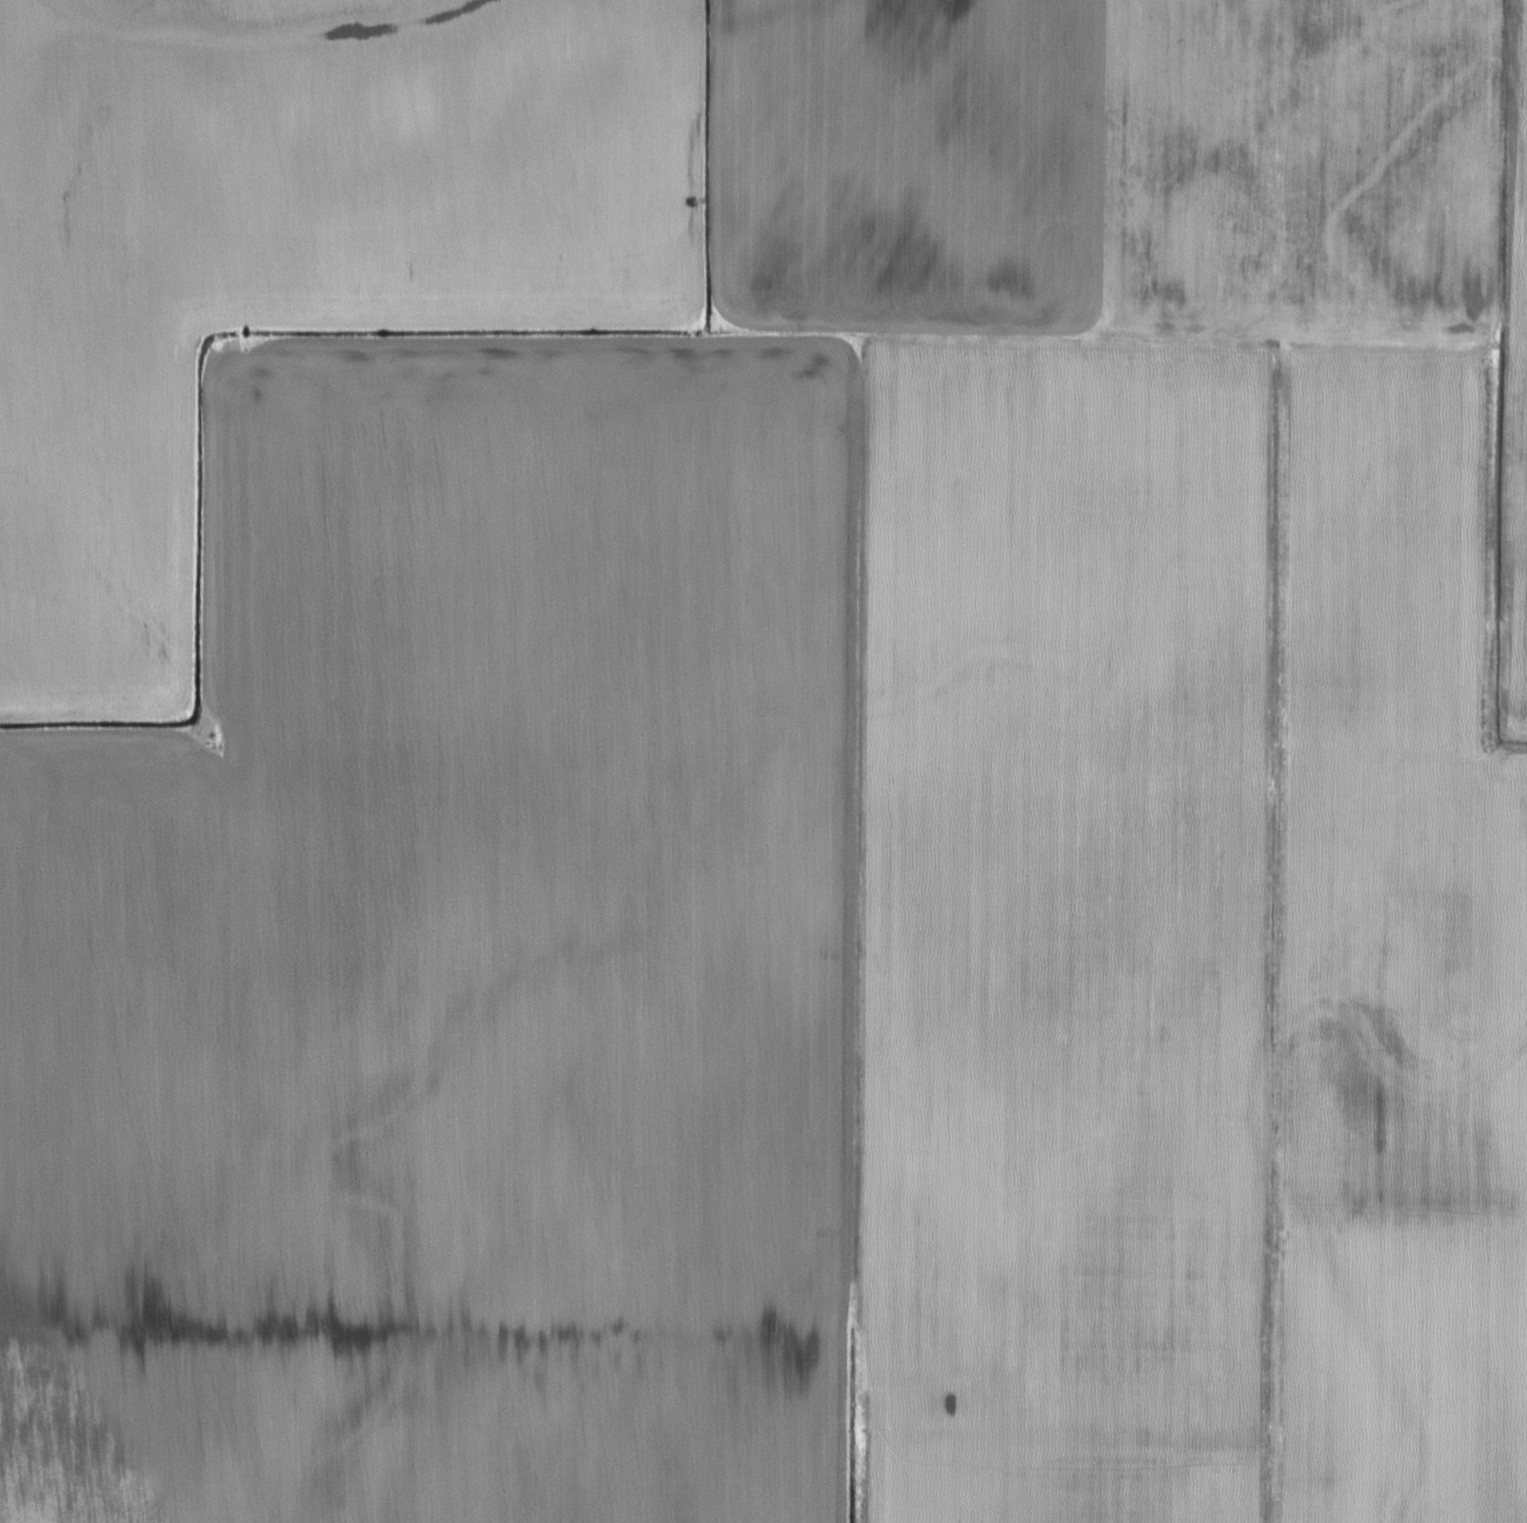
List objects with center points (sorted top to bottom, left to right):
road: (1507, 651)

